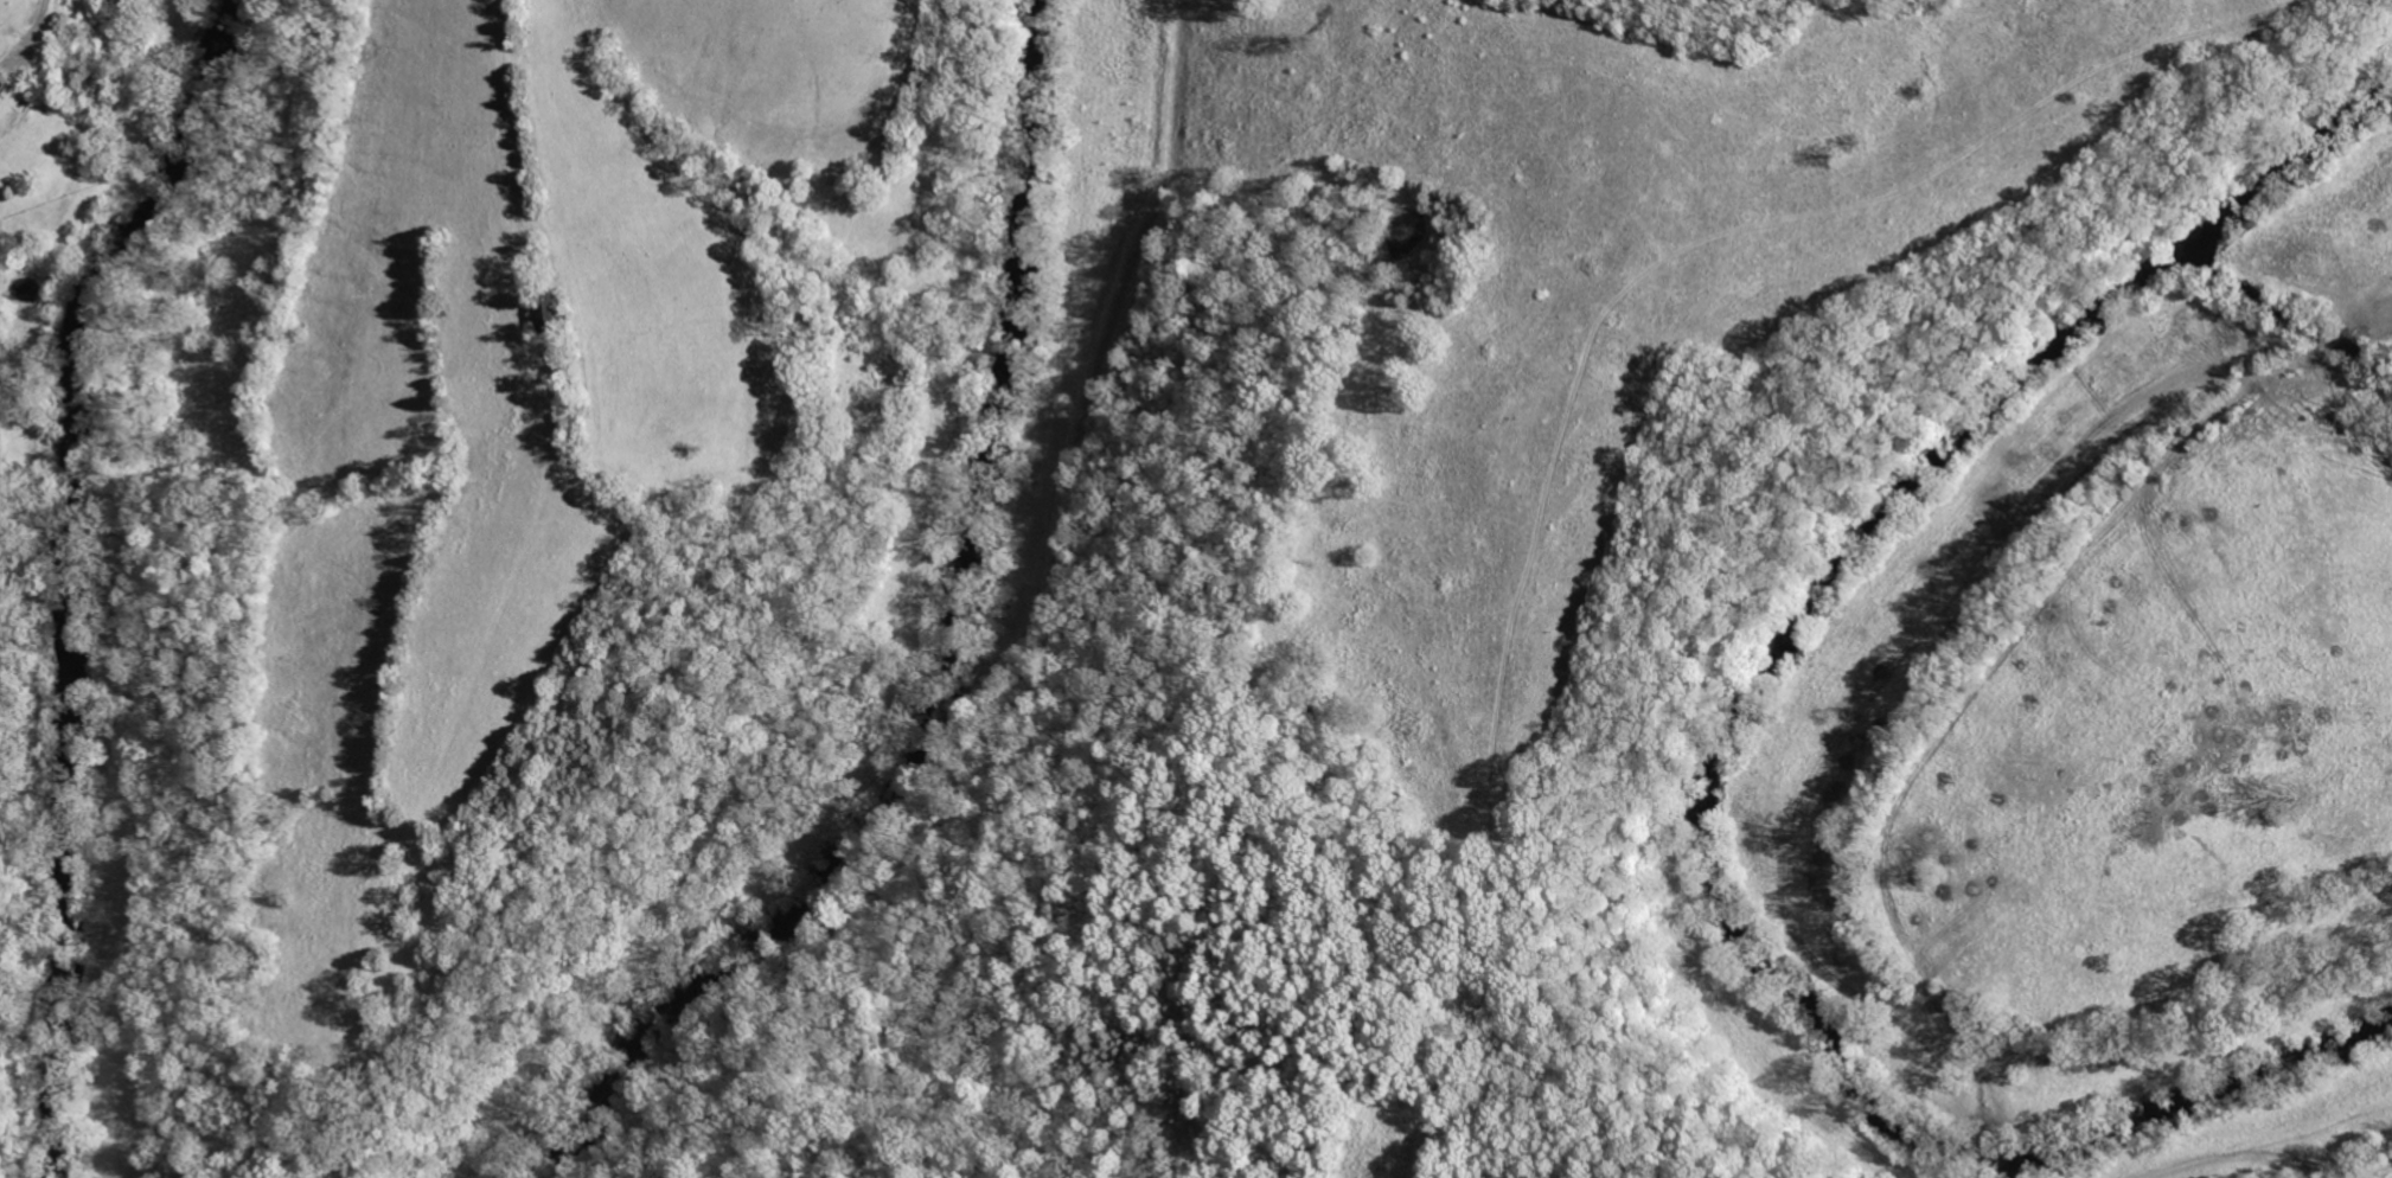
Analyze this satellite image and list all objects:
road: (37, 32)

